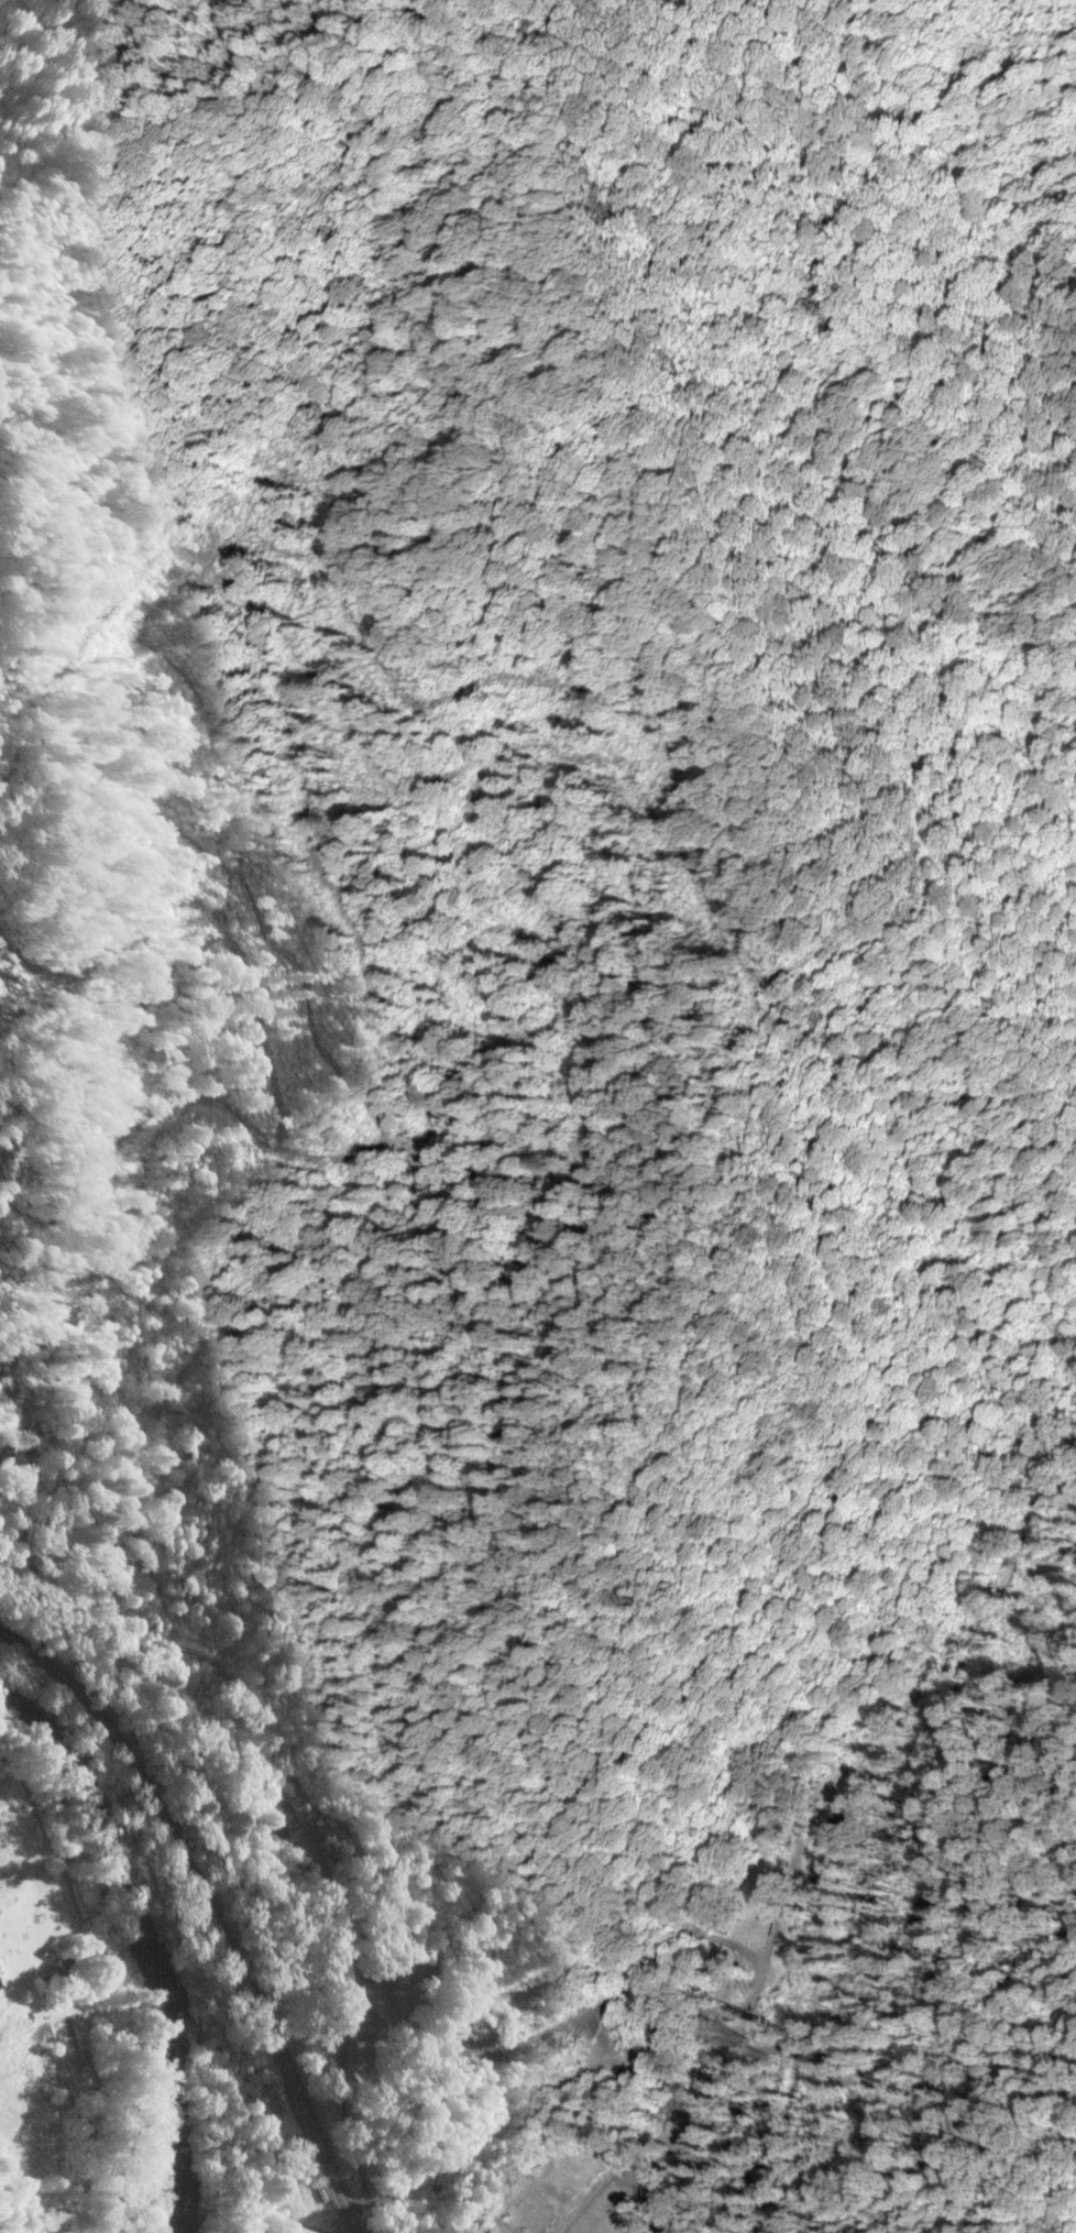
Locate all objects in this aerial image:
road: (221, 1901)
river: (161, 1938)
building: (367, 2017)

